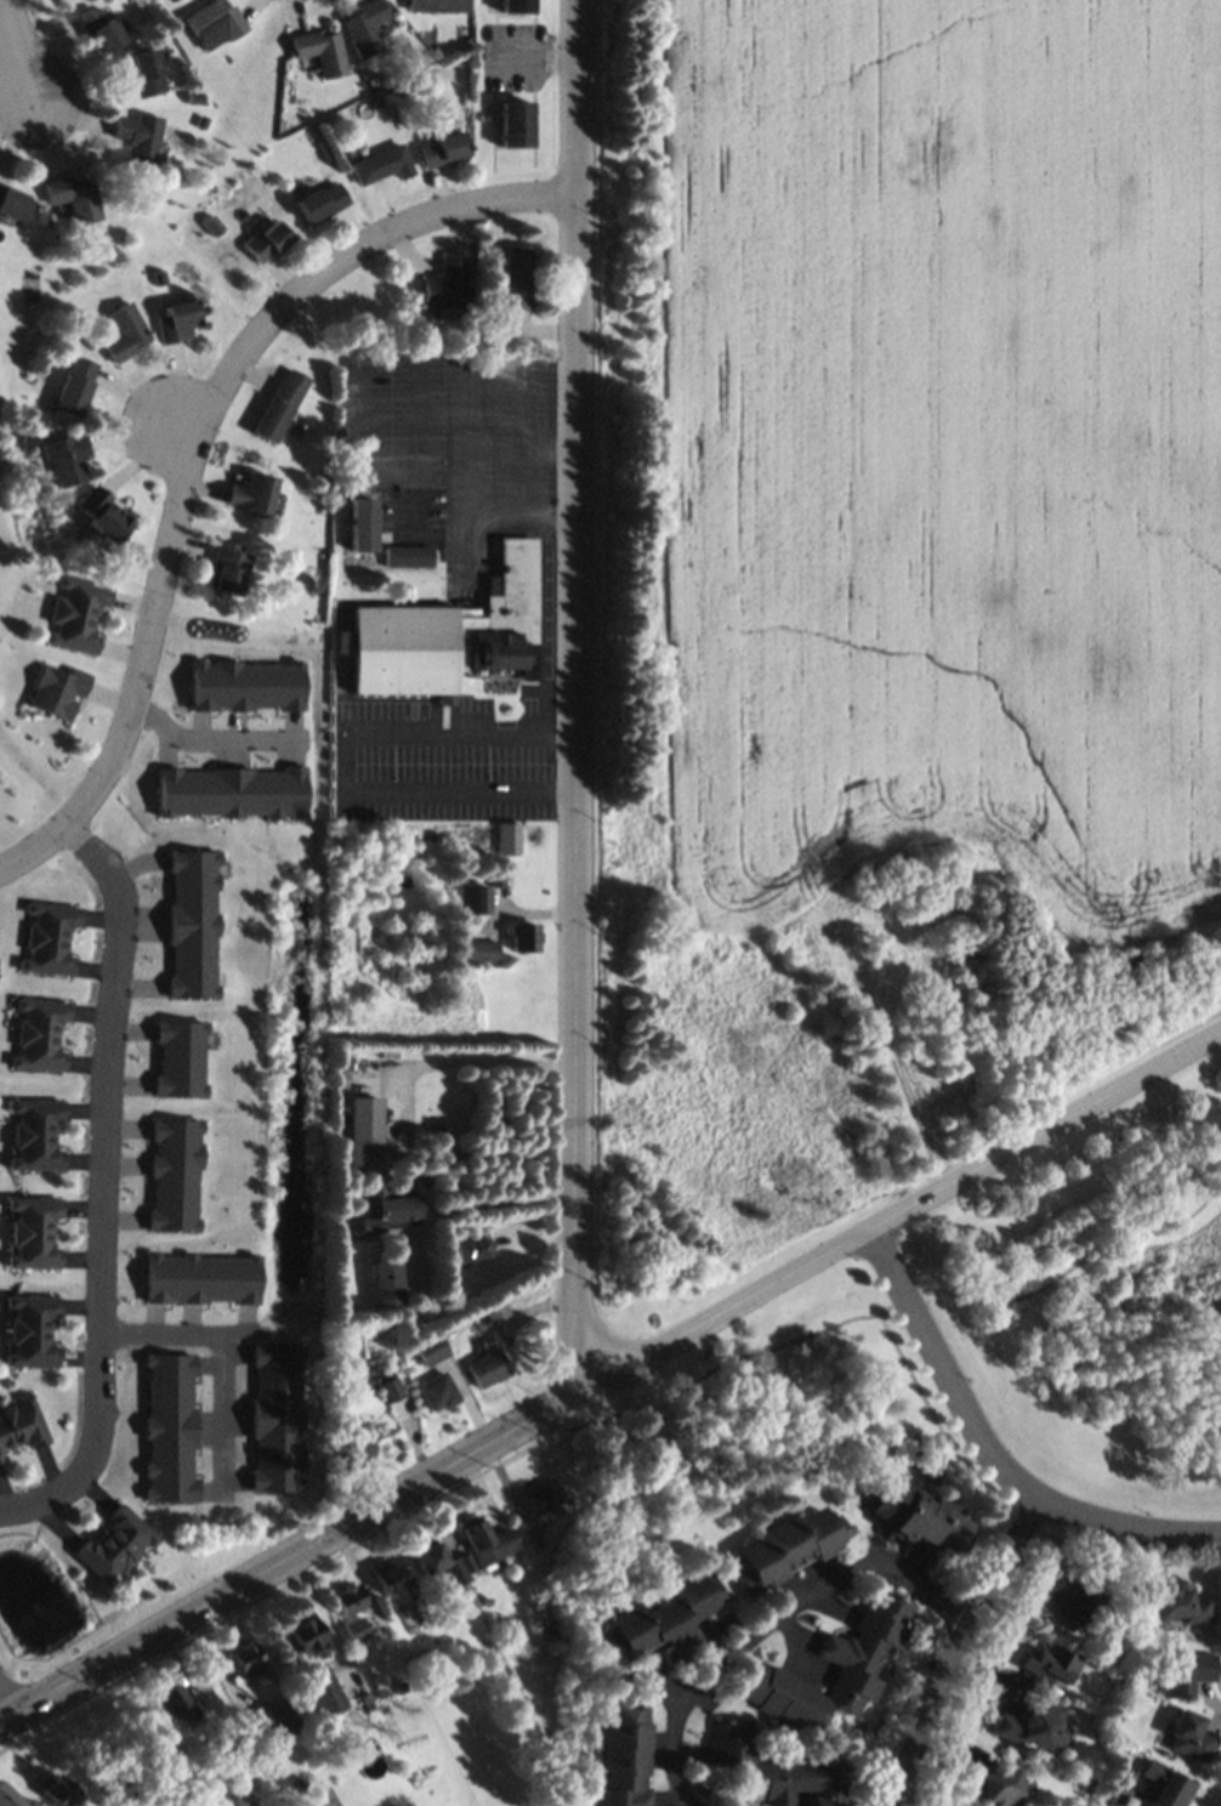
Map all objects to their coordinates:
building: (437, 6)
building: (516, 6)
building: (215, 23)
building: (365, 27)
building: (101, 28)
building: (322, 49)
road: (11, 51)
building: (144, 73)
building: (515, 123)
building: (141, 136)
building: (444, 149)
building: (382, 164)
building: (76, 197)
building: (323, 200)
building: (13, 201)
building: (267, 240)
building: (519, 277)
building: (447, 286)
park: (45, 289)
building: (178, 320)
building: (127, 331)
building: (76, 386)
building: (282, 404)
road: (199, 442)
building: (69, 460)
building: (252, 492)
building: (106, 515)
building: (362, 523)
building: (409, 556)
building: (231, 568)
crop: (891, 600)
building: (78, 614)
building: (450, 634)
building: (61, 692)
road: (577, 697)
building: (509, 839)
building: (471, 898)
building: (526, 937)
building: (49, 938)
building: (484, 950)
building: (39, 1034)
building: (364, 1120)
building: (34, 1134)
road: (109, 1170)
road: (475, 1200)
building: (391, 1210)
road: (899, 1212)
building: (33, 1232)
building: (475, 1250)
building: (386, 1283)
park: (1096, 1299)
building: (495, 1311)
building: (32, 1330)
building: (431, 1350)
building: (488, 1368)
building: (438, 1392)
road: (602, 1420)
building: (22, 1425)
building: (353, 1439)
road: (994, 1448)
building: (543, 1497)
road: (1003, 1506)
building: (919, 1516)
building: (488, 1540)
building: (117, 1545)
building: (790, 1547)
road: (289, 1560)
building: (442, 1562)
building: (388, 1577)
building: (350, 1600)
building: (1078, 1603)
building: (1177, 1605)
building: (666, 1622)
road: (774, 1622)
building: (357, 1629)
building: (305, 1632)
road: (961, 1645)
building: (248, 1658)
building: (853, 1659)
building: (1051, 1664)
building: (1187, 1672)
building: (325, 1692)
building: (174, 1700)
building: (283, 1715)
road: (2, 1716)
building: (1034, 1727)
building: (1188, 1738)
building: (627, 1756)
building: (776, 1768)
building: (994, 1785)
building: (1163, 1785)
building: (56, 1788)
building: (8, 1798)

